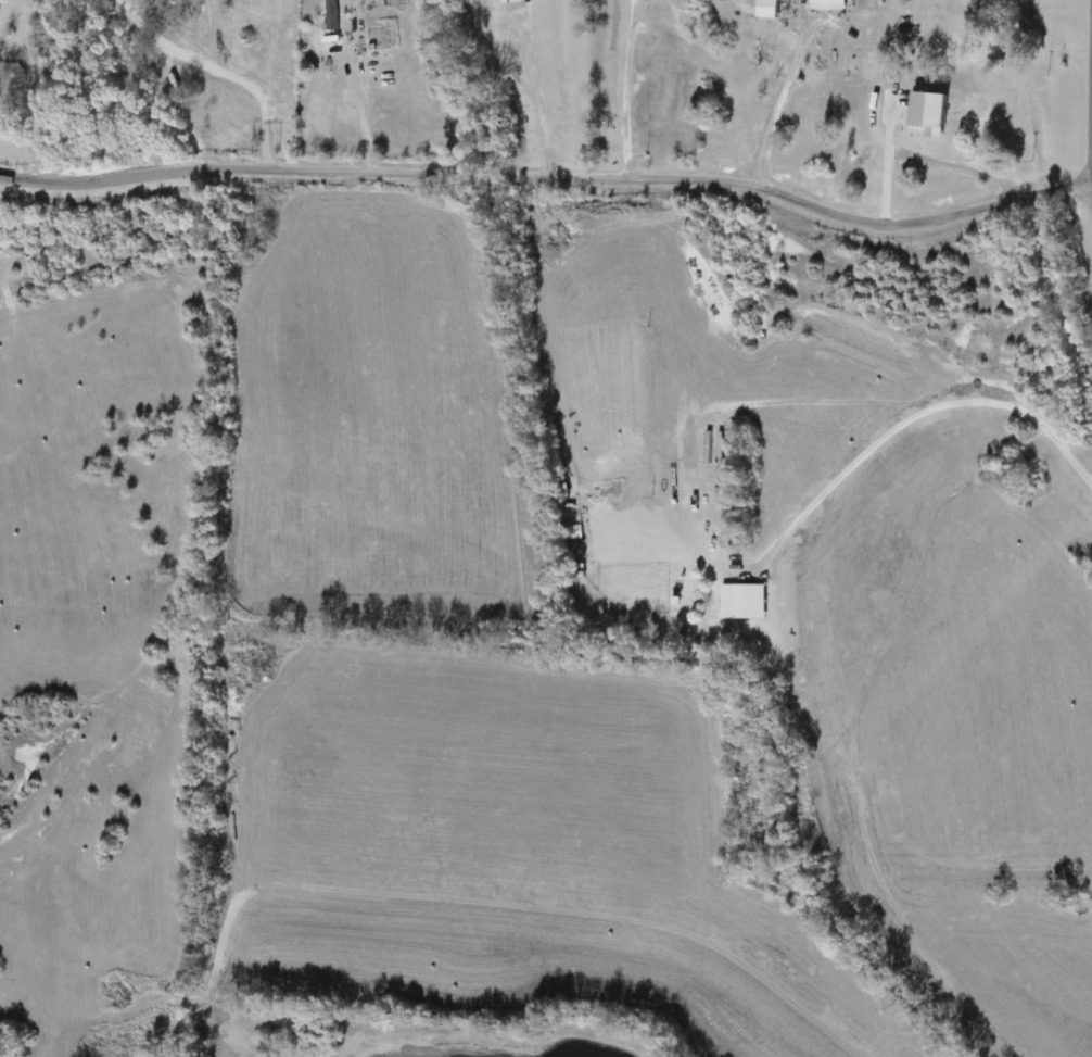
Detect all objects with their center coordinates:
building: (829, 2)
building: (770, 9)
building: (332, 15)
road: (223, 68)
road: (627, 90)
road: (535, 91)
road: (779, 100)
road: (356, 108)
road: (890, 164)
road: (960, 165)
road: (550, 179)
road: (901, 425)

